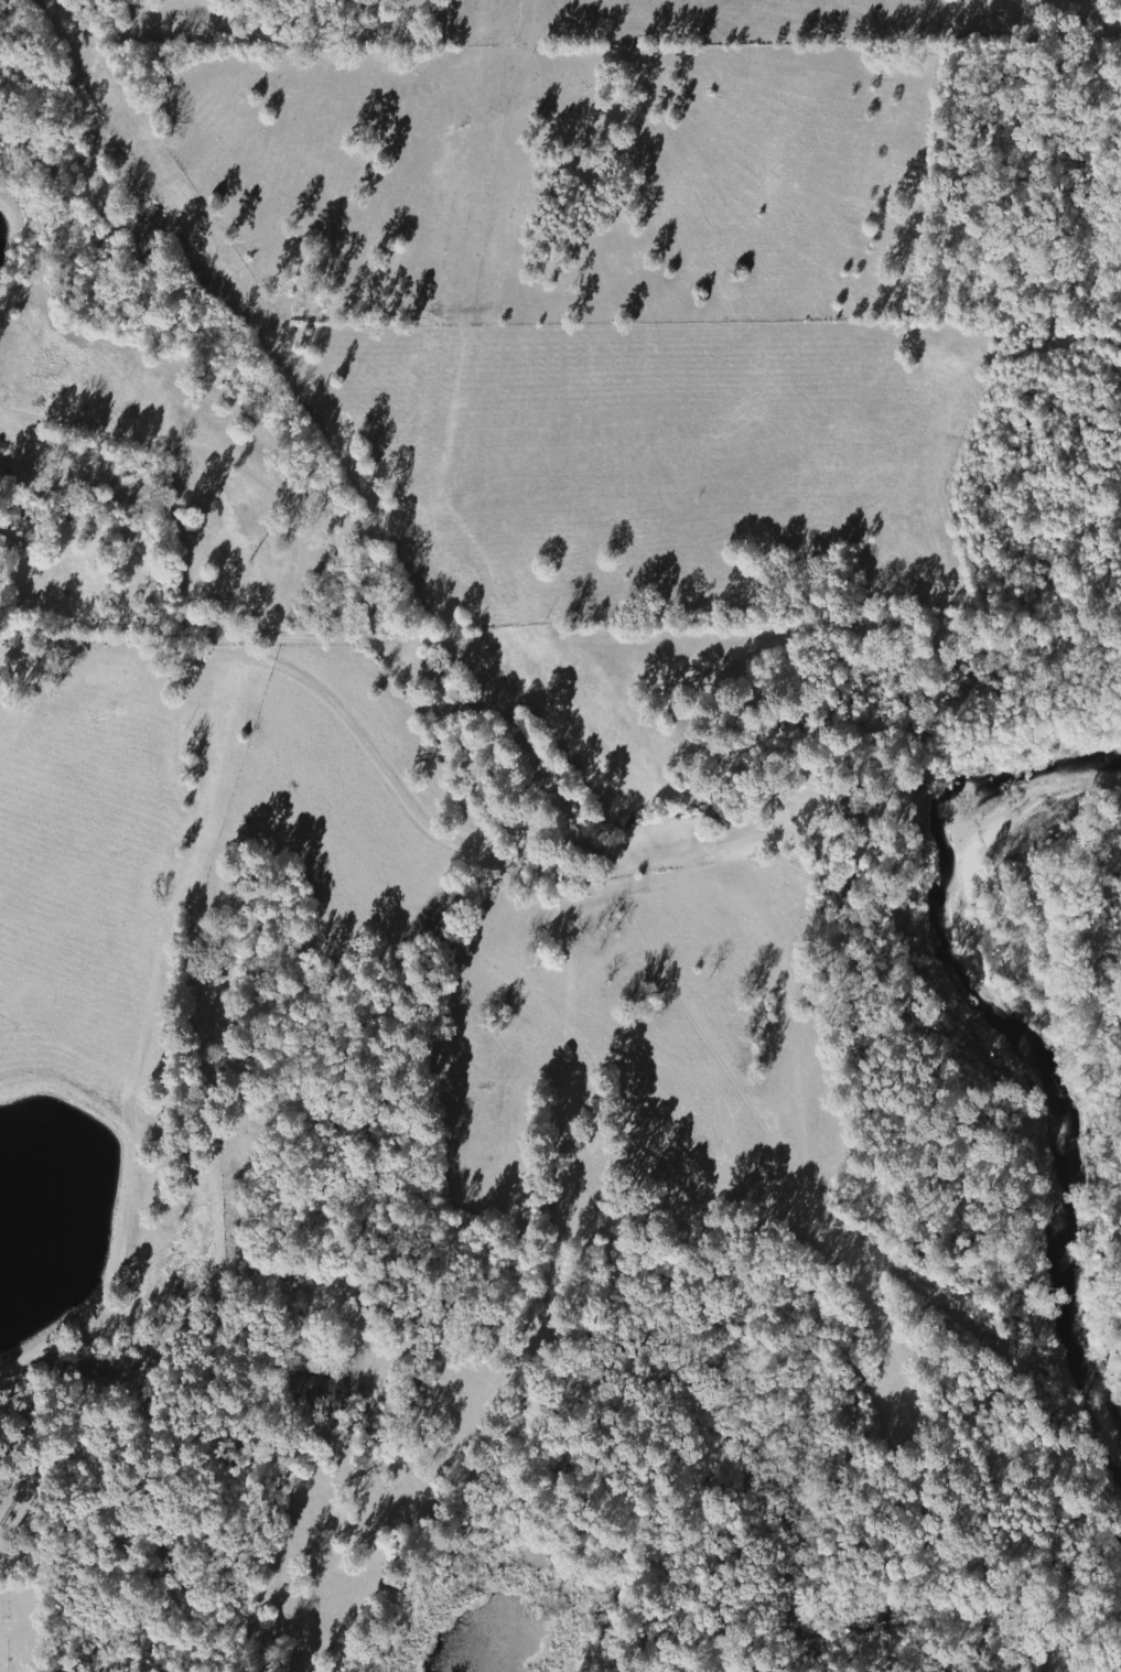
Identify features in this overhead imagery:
building: (4, 546)
road: (326, 638)

